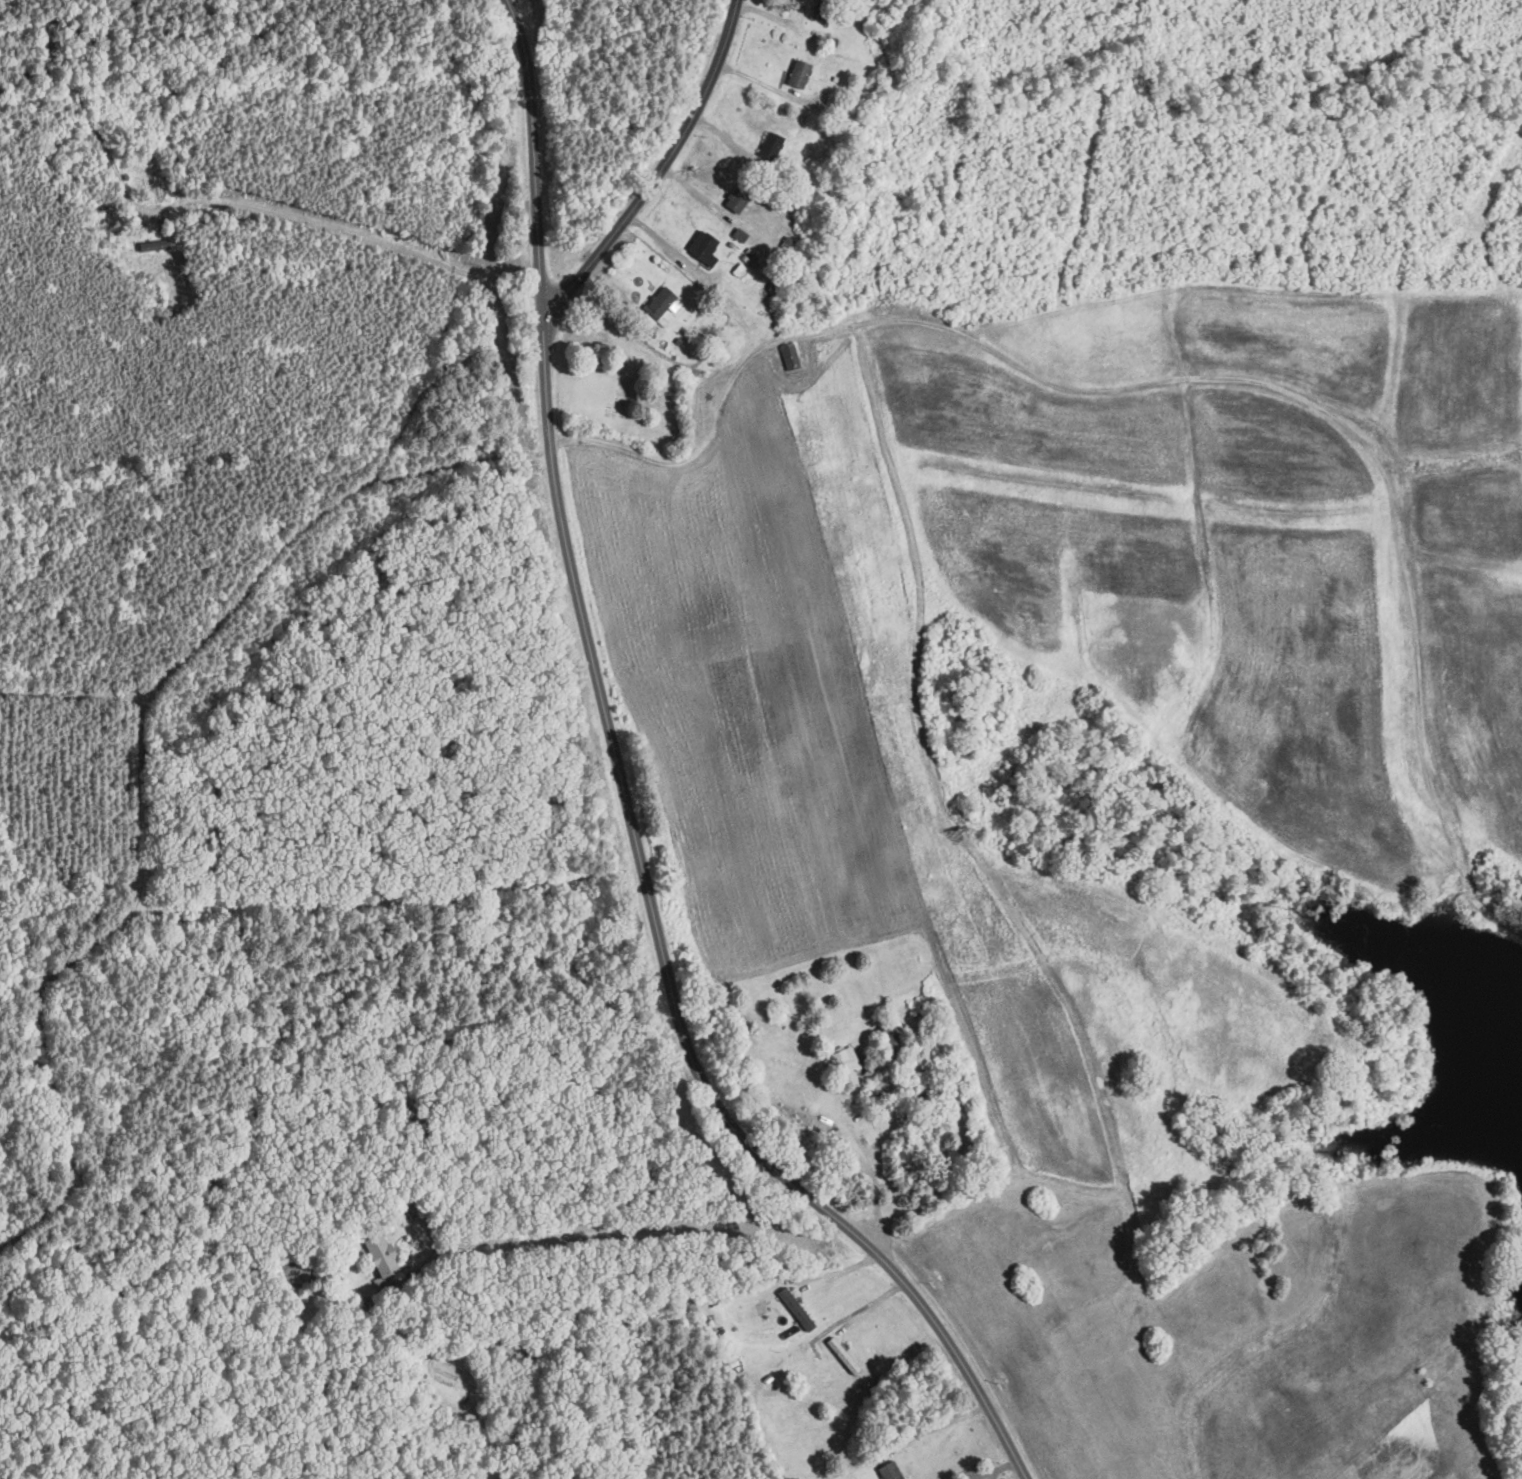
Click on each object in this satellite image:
building: (821, 10)
building: (797, 75)
building: (770, 147)
road: (660, 169)
building: (737, 199)
building: (702, 249)
building: (654, 310)
building: (789, 357)
road: (1166, 383)
road: (176, 766)
road: (625, 799)
building: (888, 1038)
building: (847, 1068)
building: (382, 1262)
building: (795, 1310)
road: (597, 1326)
building: (841, 1356)
building: (889, 1471)

